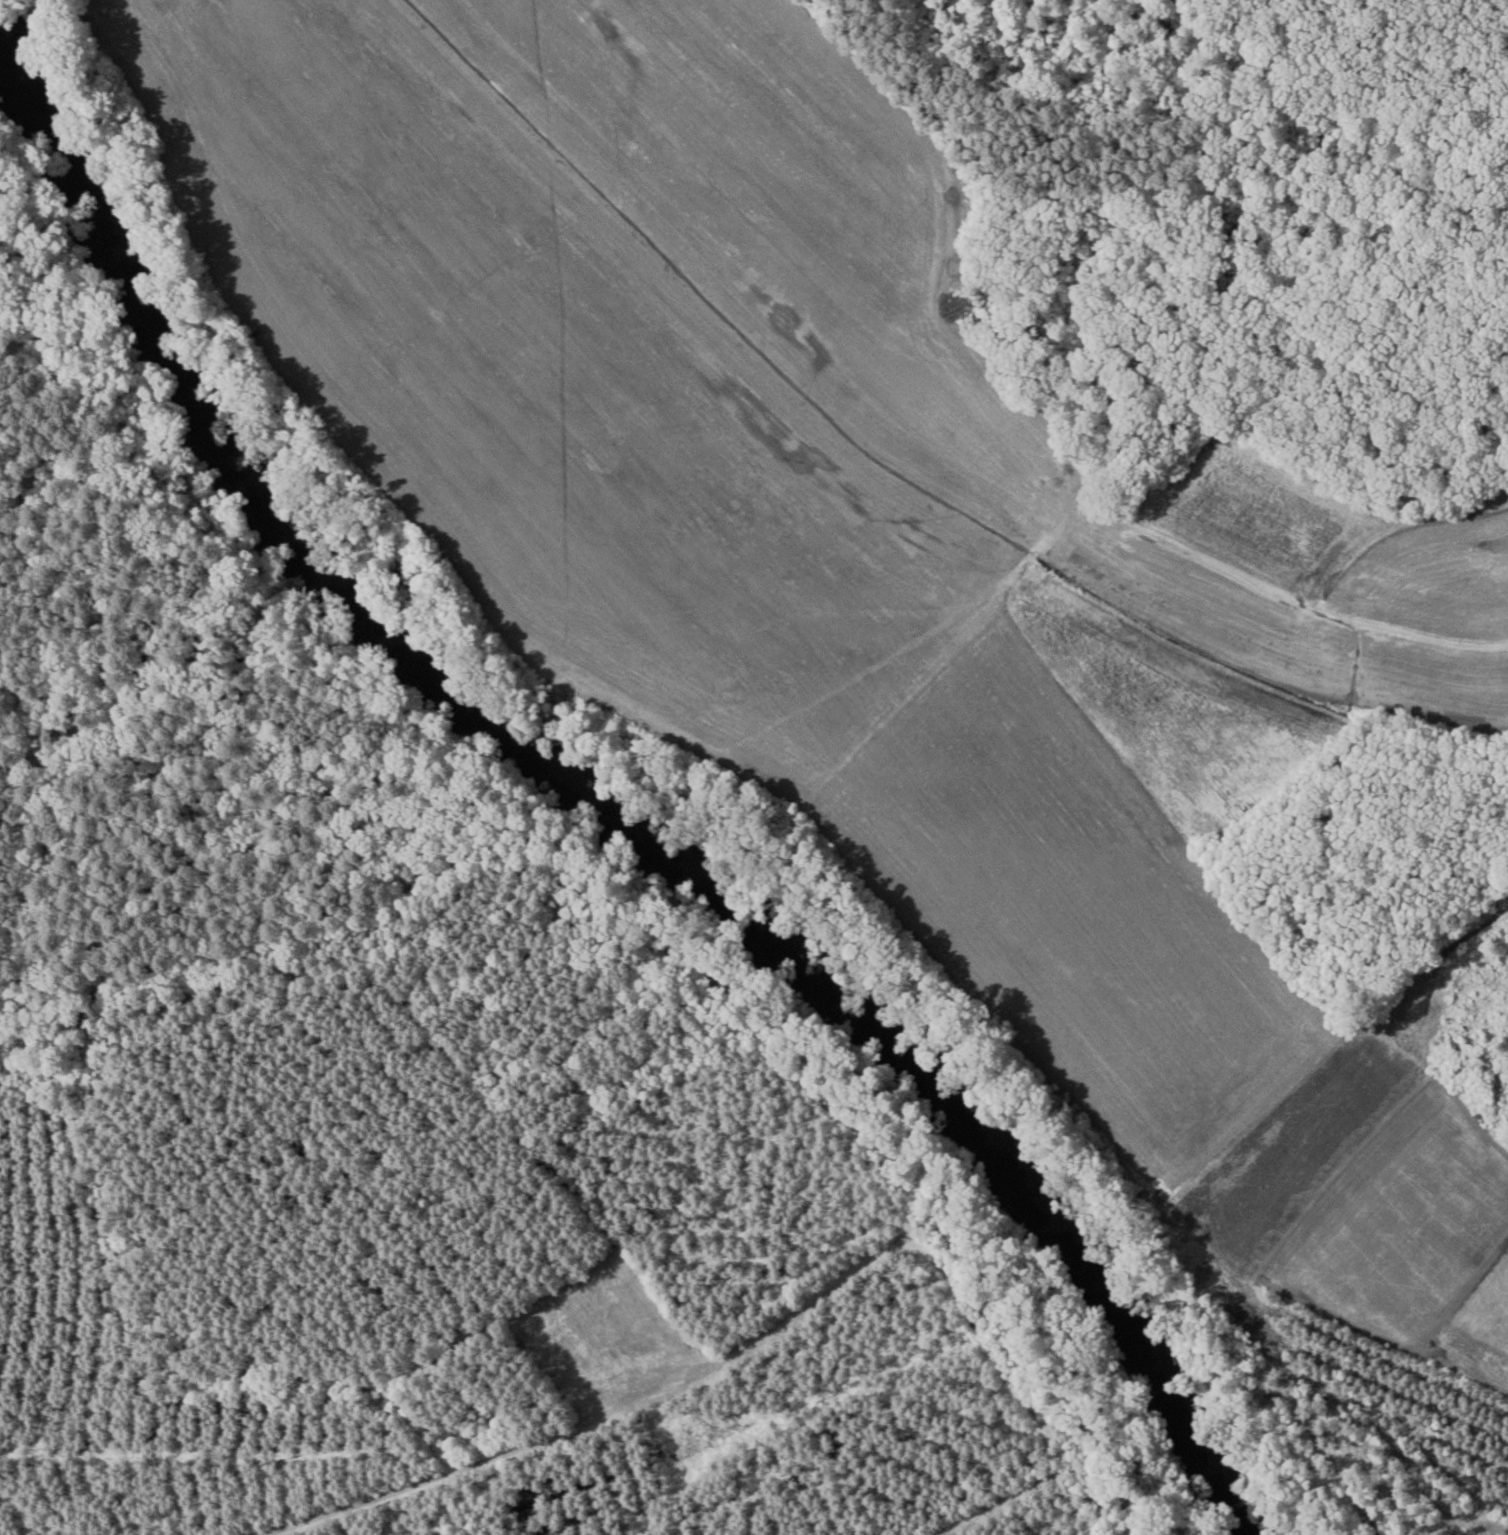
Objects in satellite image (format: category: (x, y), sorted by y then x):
river: (611, 802)

